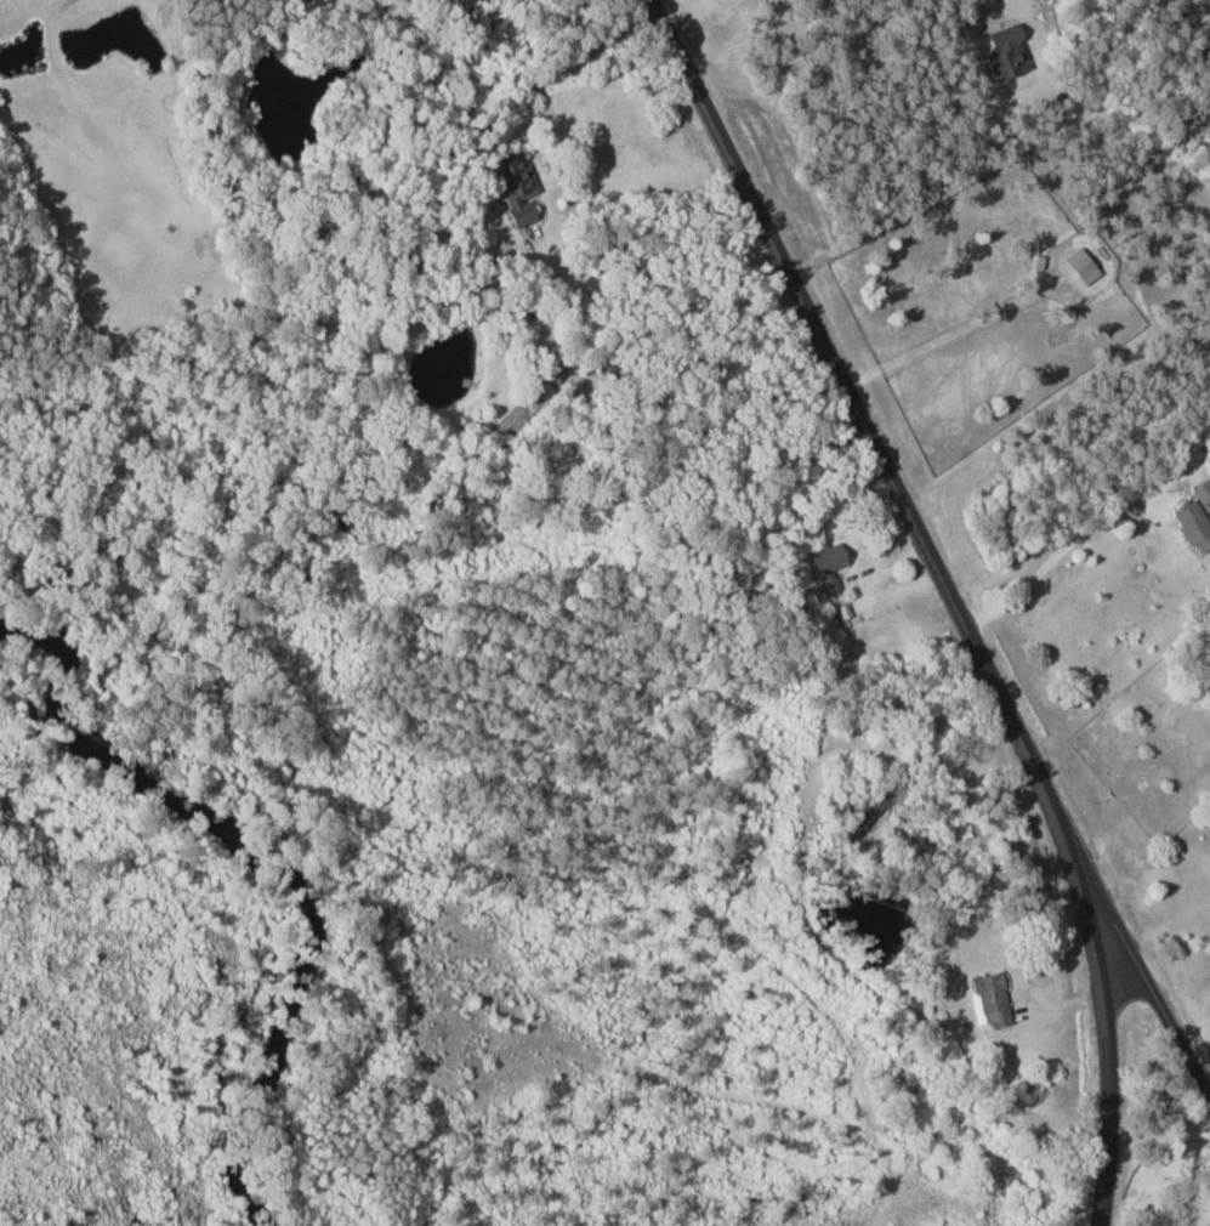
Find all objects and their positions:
building: (318, 4)
building: (1009, 50)
building: (519, 188)
road: (791, 277)
building: (1204, 492)
building: (1195, 526)
building: (830, 558)
road: (1075, 876)
road: (1134, 957)
building: (994, 999)

